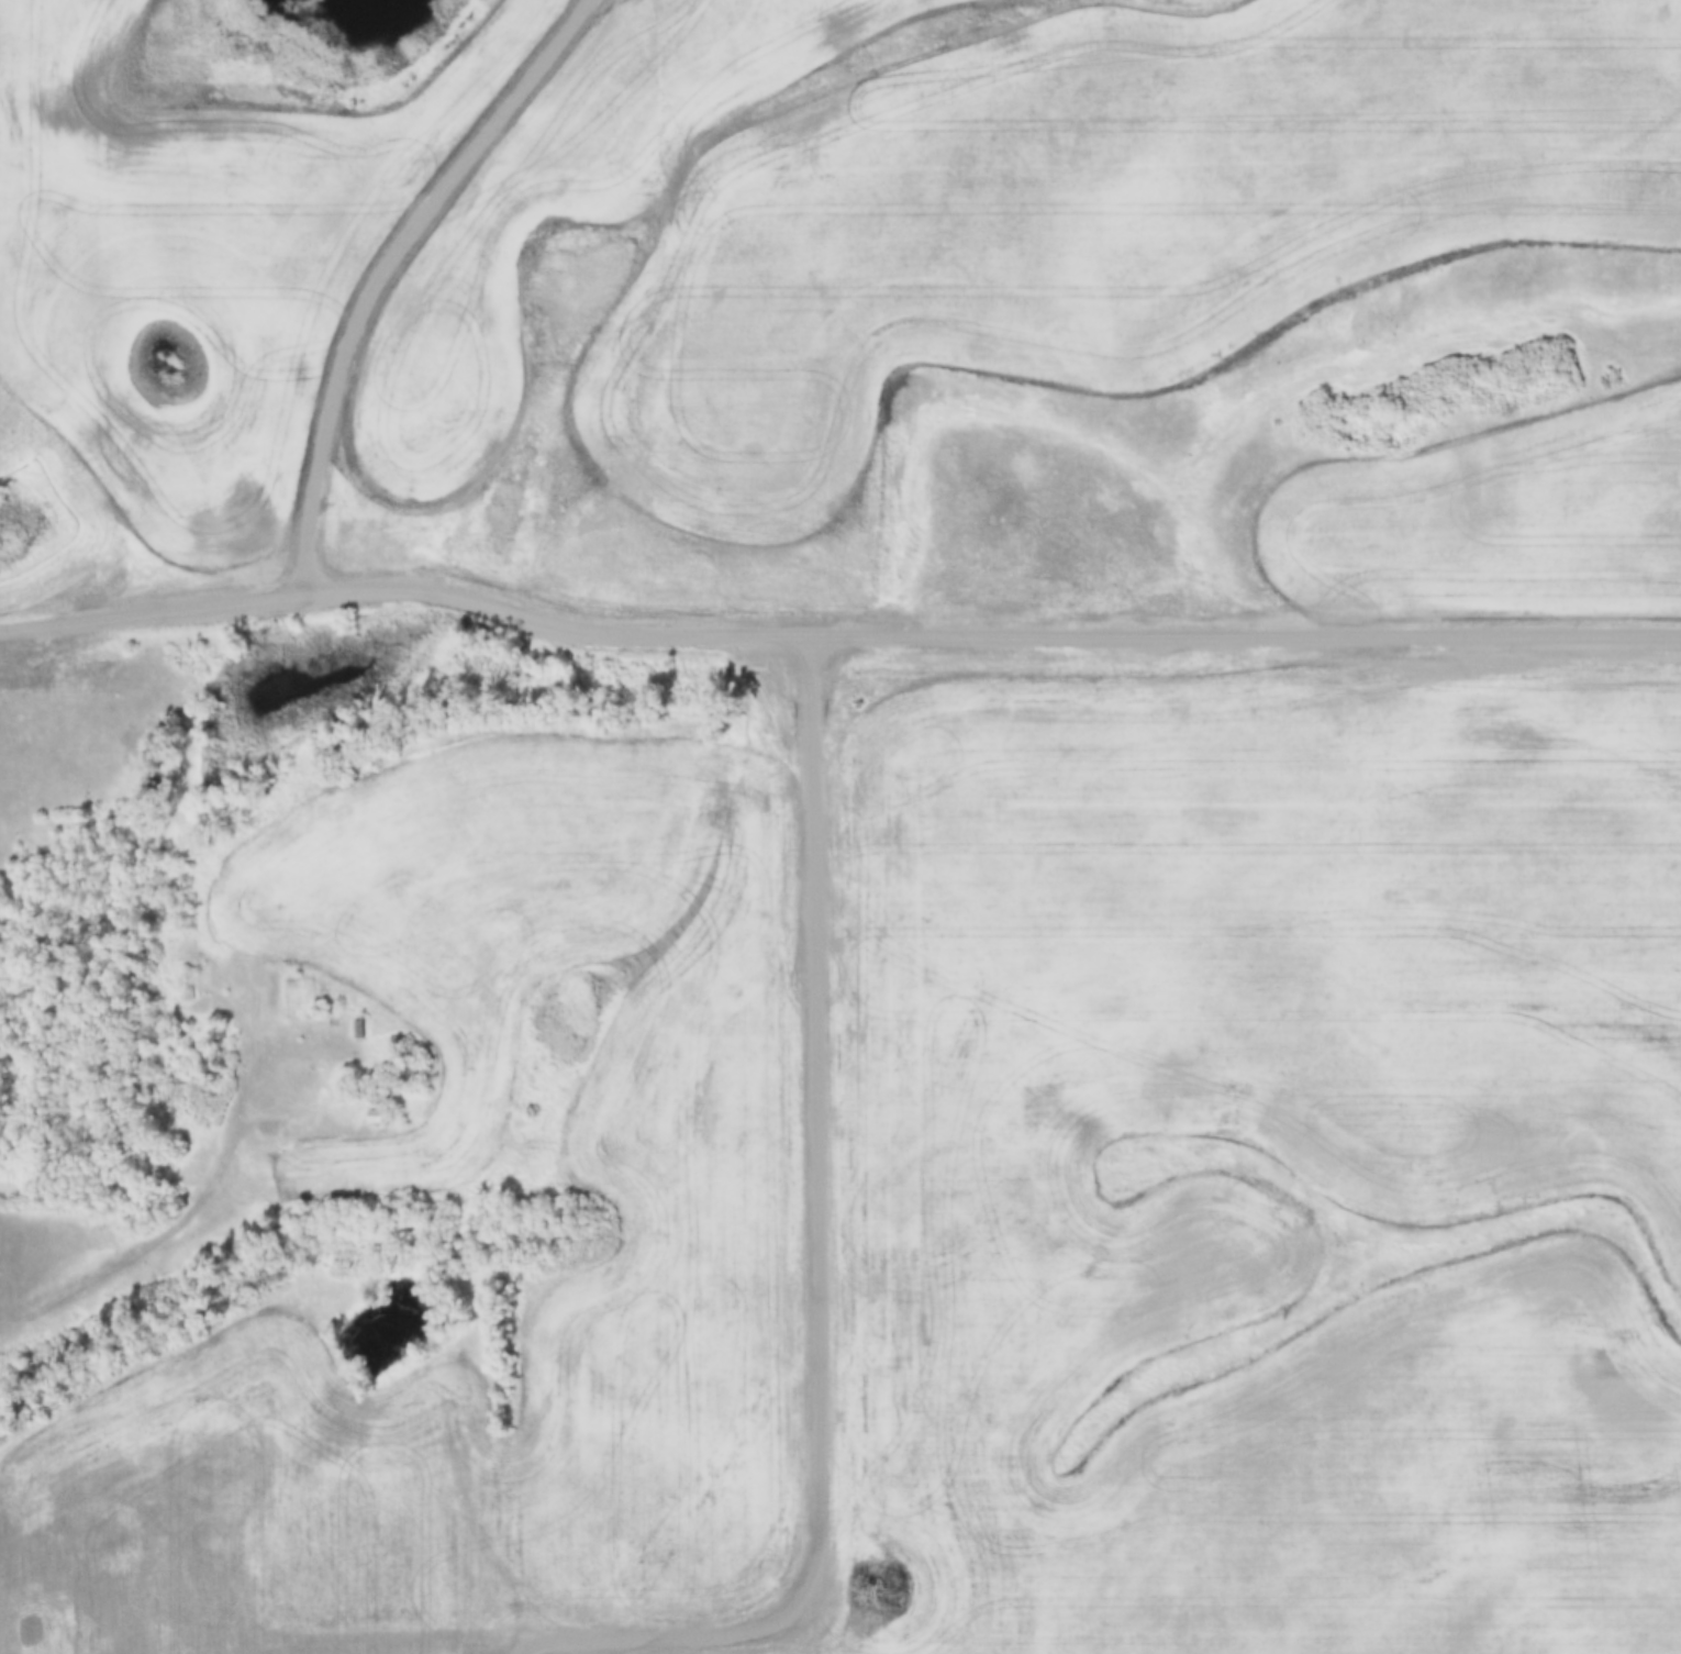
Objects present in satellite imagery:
road: (387, 281)
road: (835, 641)
road: (116, 1257)

